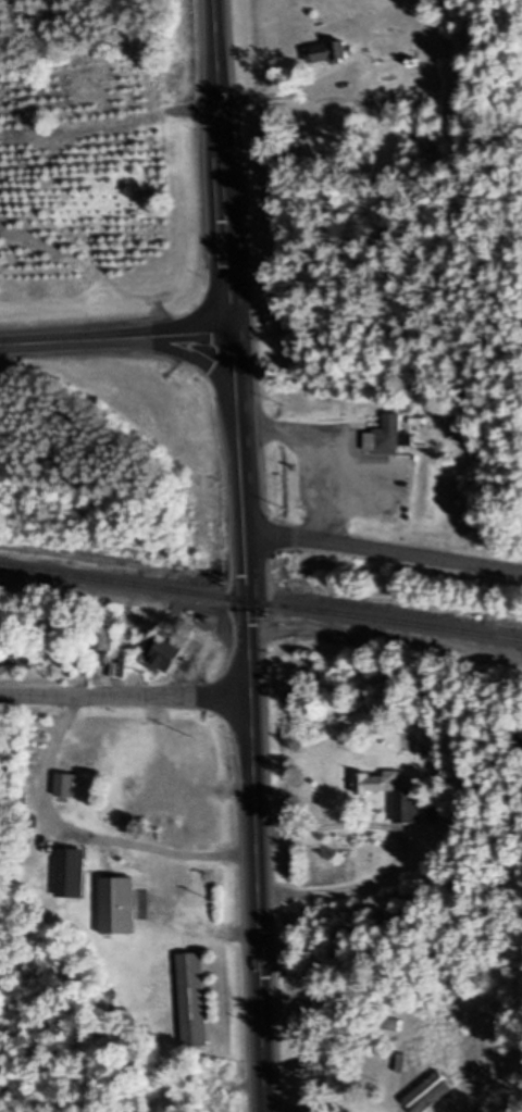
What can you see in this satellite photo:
building: (440, 48)
building: (326, 53)
road: (223, 165)
park: (105, 264)
road: (116, 339)
road: (196, 358)
building: (386, 436)
road: (383, 548)
railway: (261, 601)
building: (101, 638)
building: (161, 651)
road: (126, 695)
road: (253, 721)
building: (64, 784)
building: (391, 794)
building: (433, 813)
road: (403, 848)
building: (70, 873)
building: (116, 904)
building: (192, 999)
building: (391, 1024)

